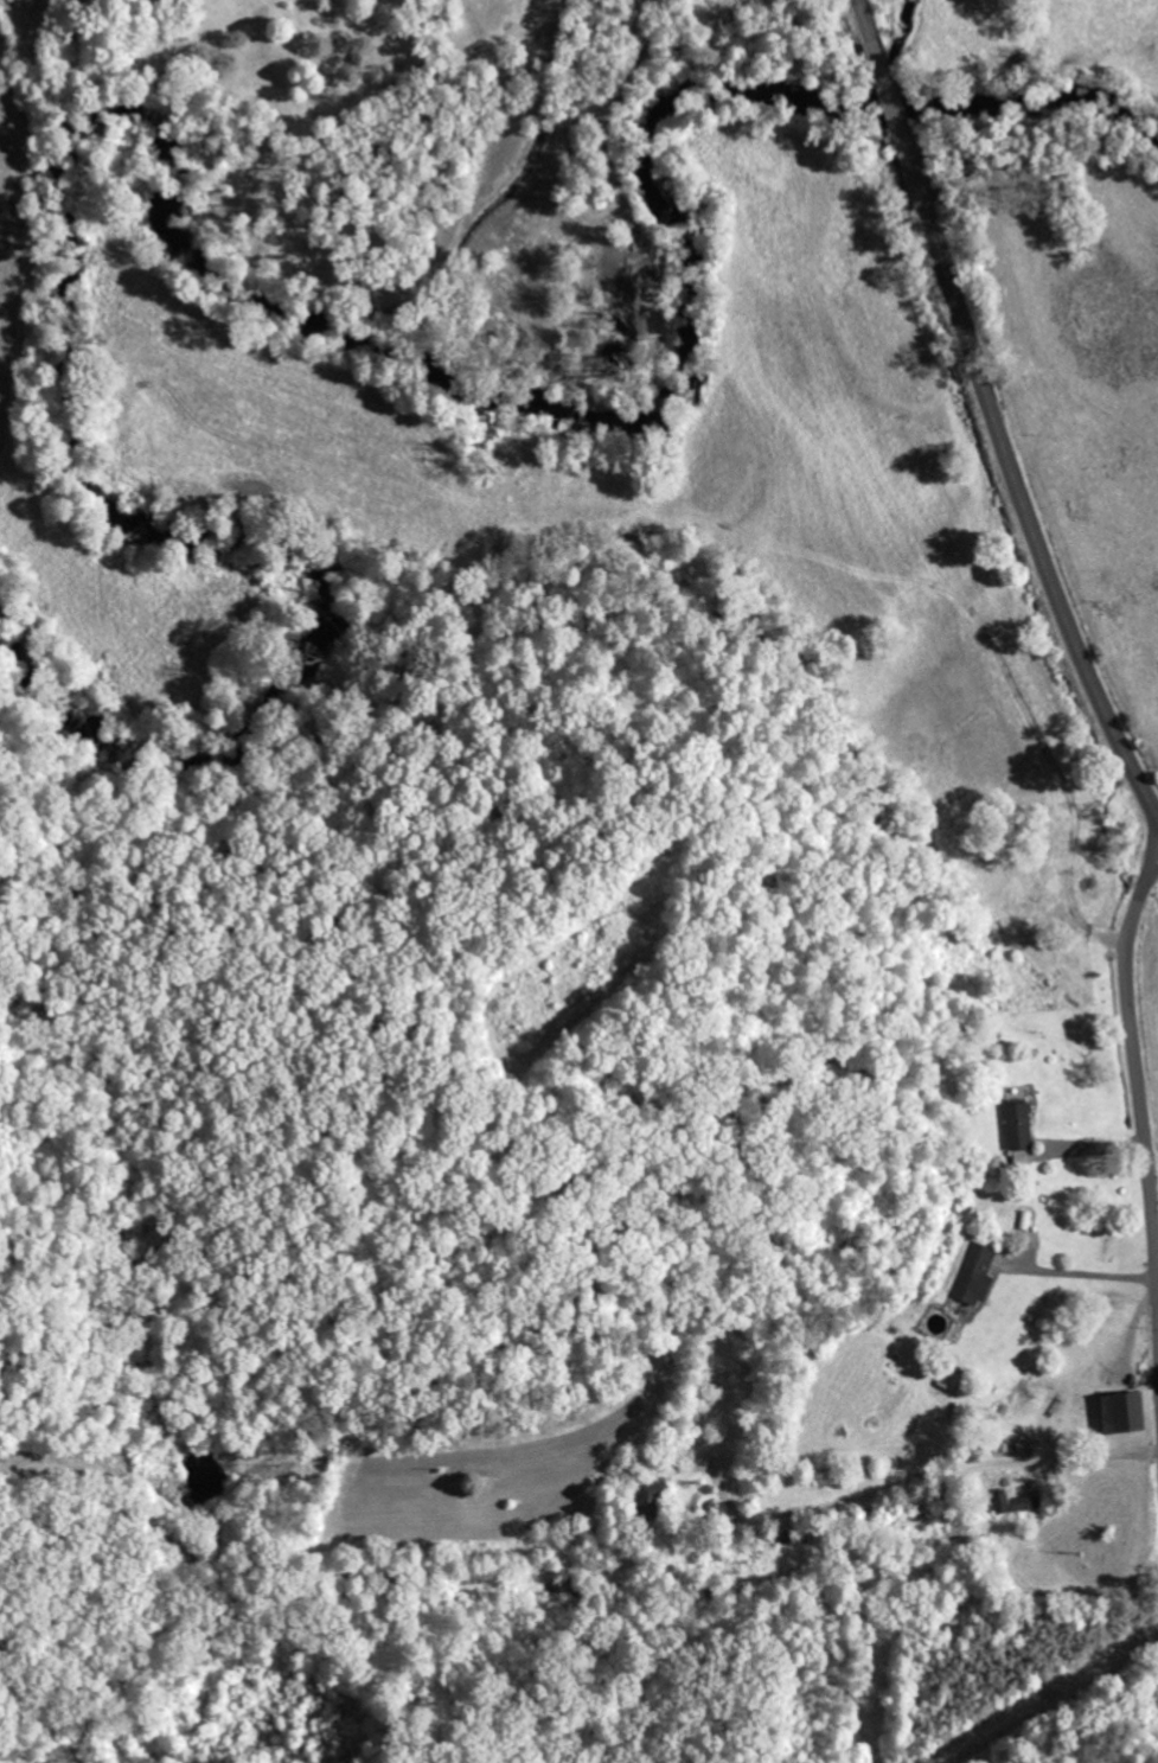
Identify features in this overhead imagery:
road: (992, 413)
road: (1135, 1048)
building: (974, 1275)
road: (906, 1314)
building: (1120, 1412)
building: (1012, 1502)

